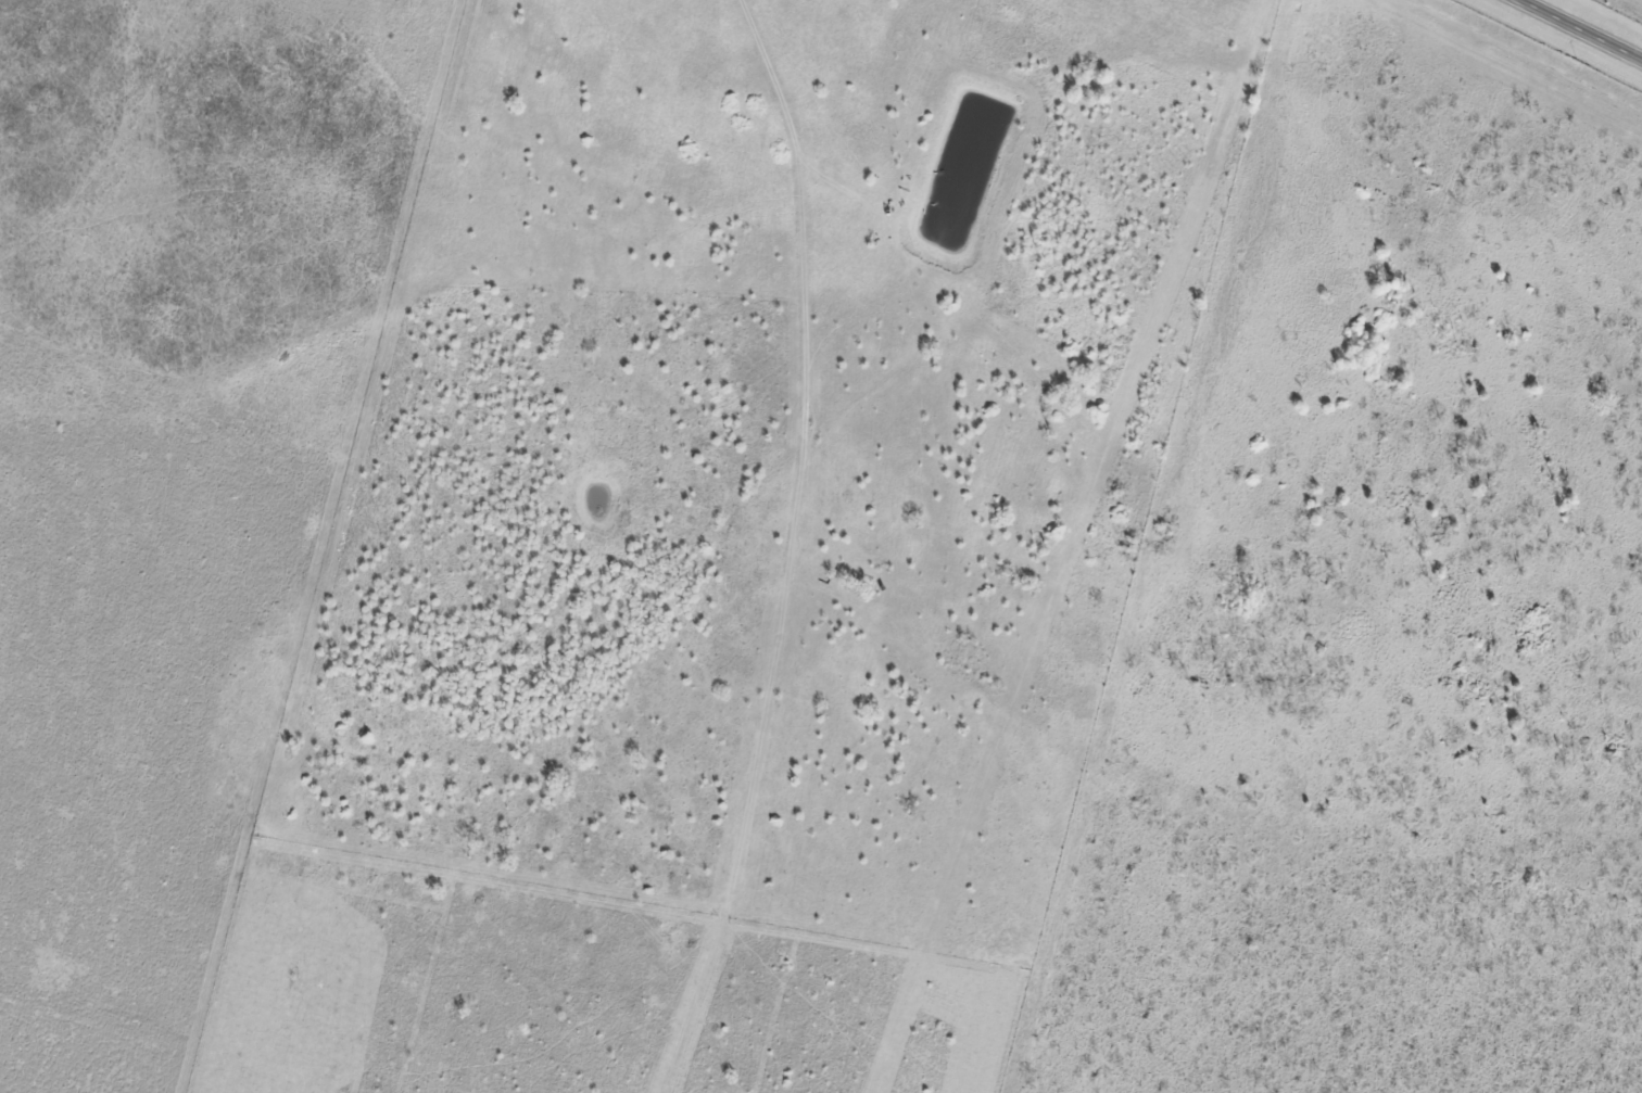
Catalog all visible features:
road: (1587, 26)

